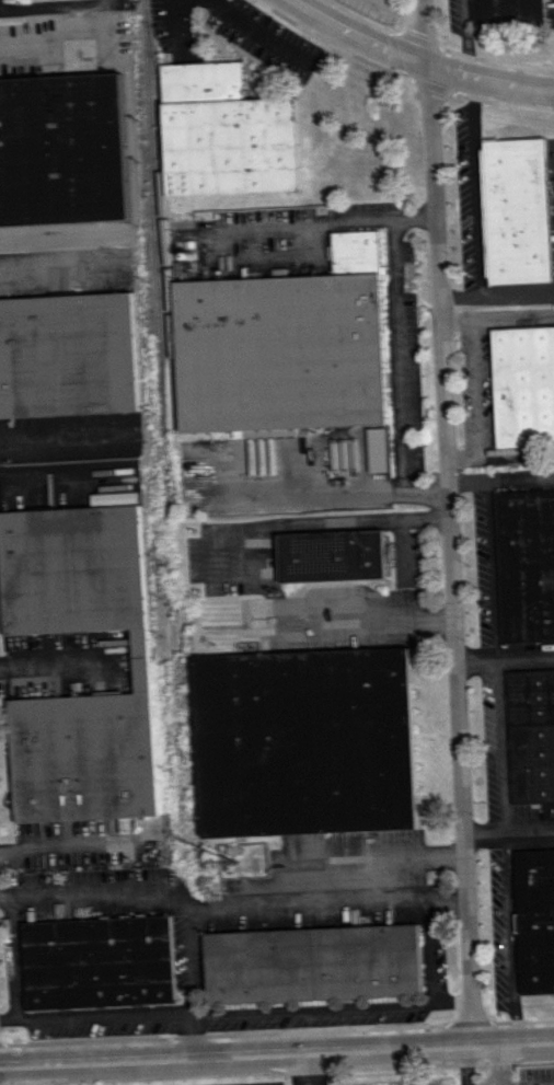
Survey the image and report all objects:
road: (58, 7)
building: (509, 13)
road: (253, 30)
road: (469, 37)
road: (51, 39)
road: (413, 59)
building: (222, 134)
building: (61, 150)
road: (475, 184)
railway: (159, 188)
building: (517, 211)
road: (326, 222)
railway: (153, 257)
road: (458, 298)
railway: (139, 330)
building: (281, 348)
building: (67, 355)
road: (394, 382)
road: (478, 384)
building: (523, 388)
road: (53, 447)
building: (372, 450)
road: (42, 476)
road: (500, 476)
road: (318, 494)
road: (449, 522)
road: (396, 552)
building: (330, 555)
road: (206, 565)
building: (528, 565)
road: (493, 566)
railway: (148, 611)
road: (503, 655)
building: (139, 665)
road: (57, 666)
railway: (172, 672)
building: (532, 738)
building: (302, 742)
road: (500, 743)
road: (507, 830)
road: (67, 843)
road: (229, 909)
building: (535, 920)
road: (510, 937)
road: (426, 951)
road: (15, 962)
building: (97, 962)
building: (309, 963)
road: (448, 1003)
road: (304, 1009)
road: (97, 1016)
road: (183, 1037)
road: (277, 1054)
road: (496, 1064)
road: (461, 1065)
road: (291, 1070)

